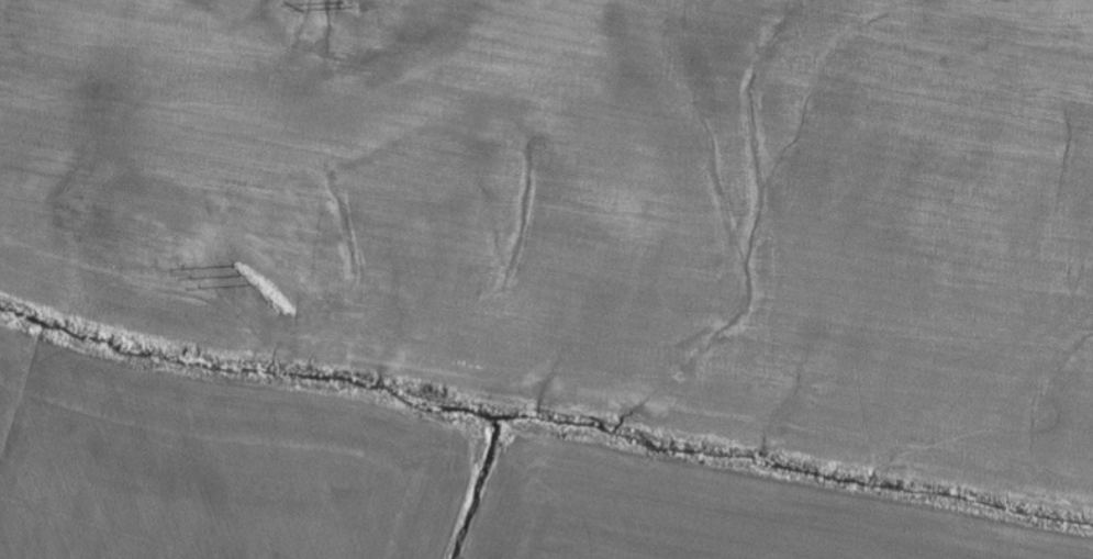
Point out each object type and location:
power tower: (342, 2)
power tower: (239, 270)

